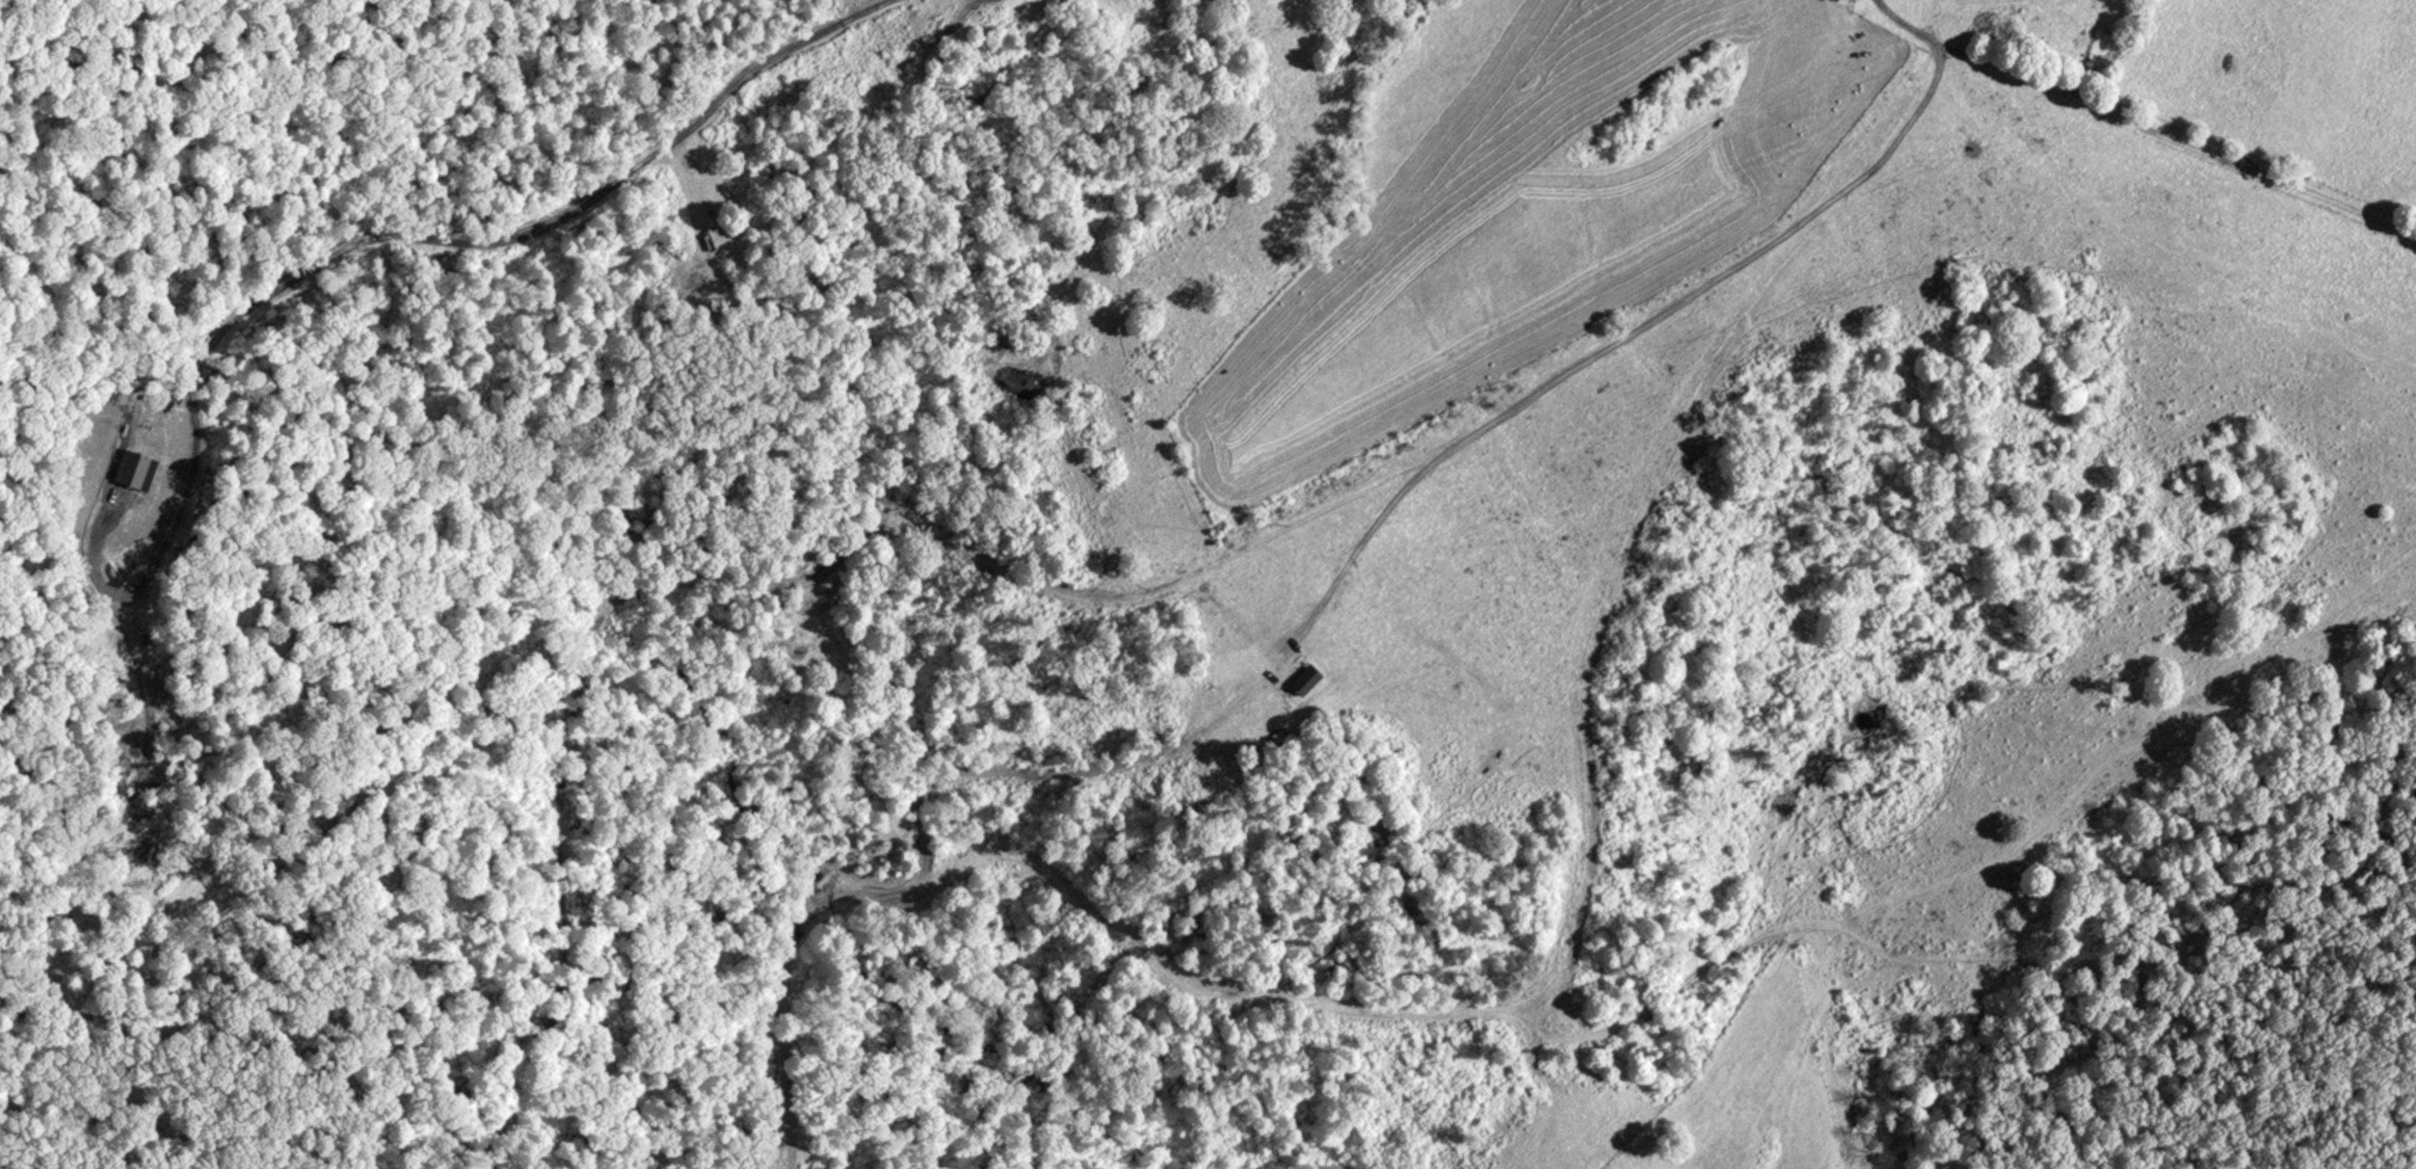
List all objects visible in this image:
road: (2144, 124)
road: (1636, 521)

